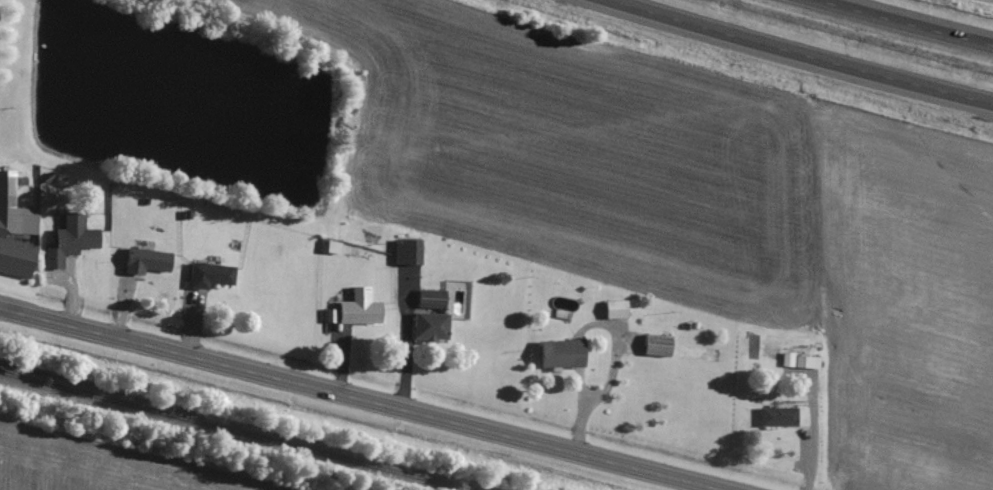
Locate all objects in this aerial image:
road: (901, 24)
road: (794, 60)
building: (16, 229)
building: (73, 240)
building: (332, 247)
building: (410, 252)
building: (150, 261)
building: (212, 275)
building: (434, 299)
building: (362, 308)
building: (620, 310)
building: (434, 326)
building: (660, 345)
building: (566, 354)
road: (407, 359)
road: (353, 400)
building: (780, 417)
railway: (229, 431)
road: (812, 449)

